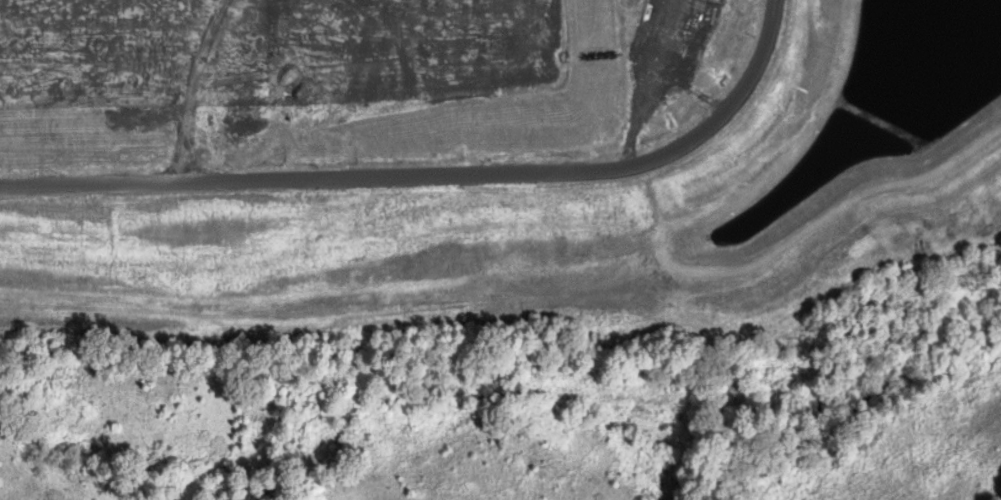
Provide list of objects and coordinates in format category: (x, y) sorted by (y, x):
road: (183, 88)
road: (433, 178)

